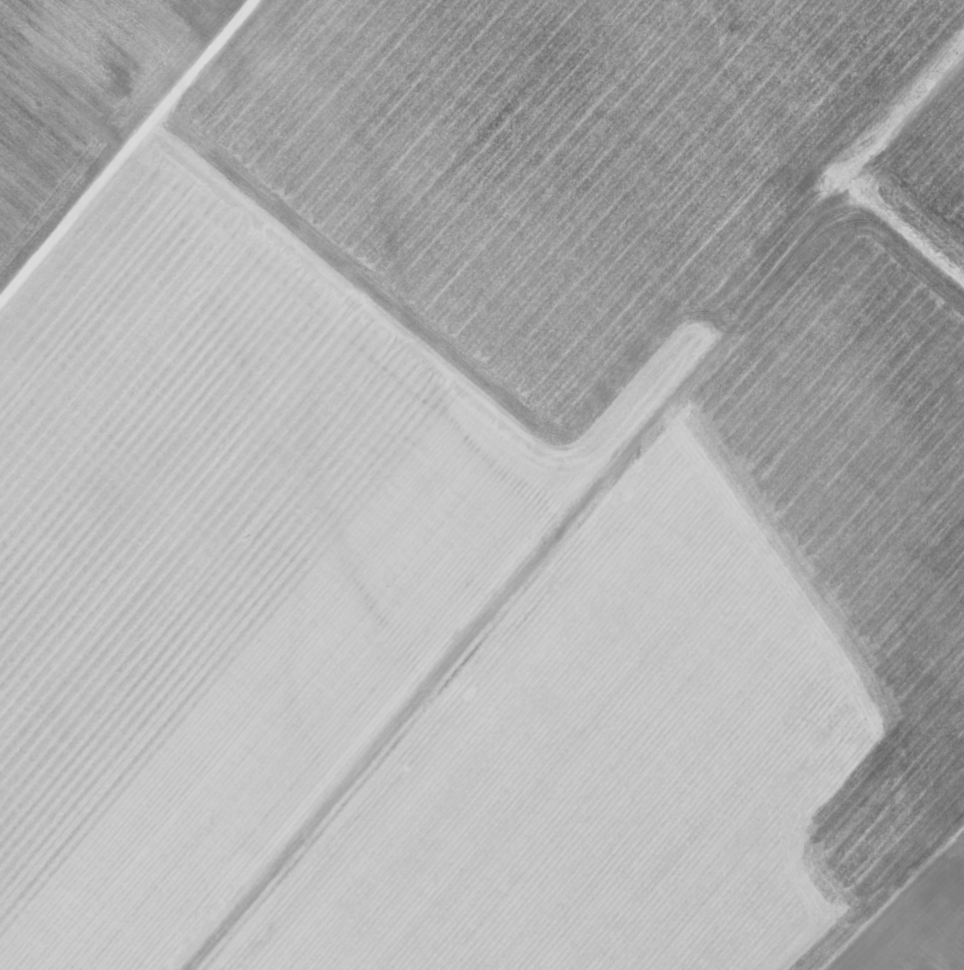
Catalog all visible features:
road: (585, 519)
road: (550, 857)

